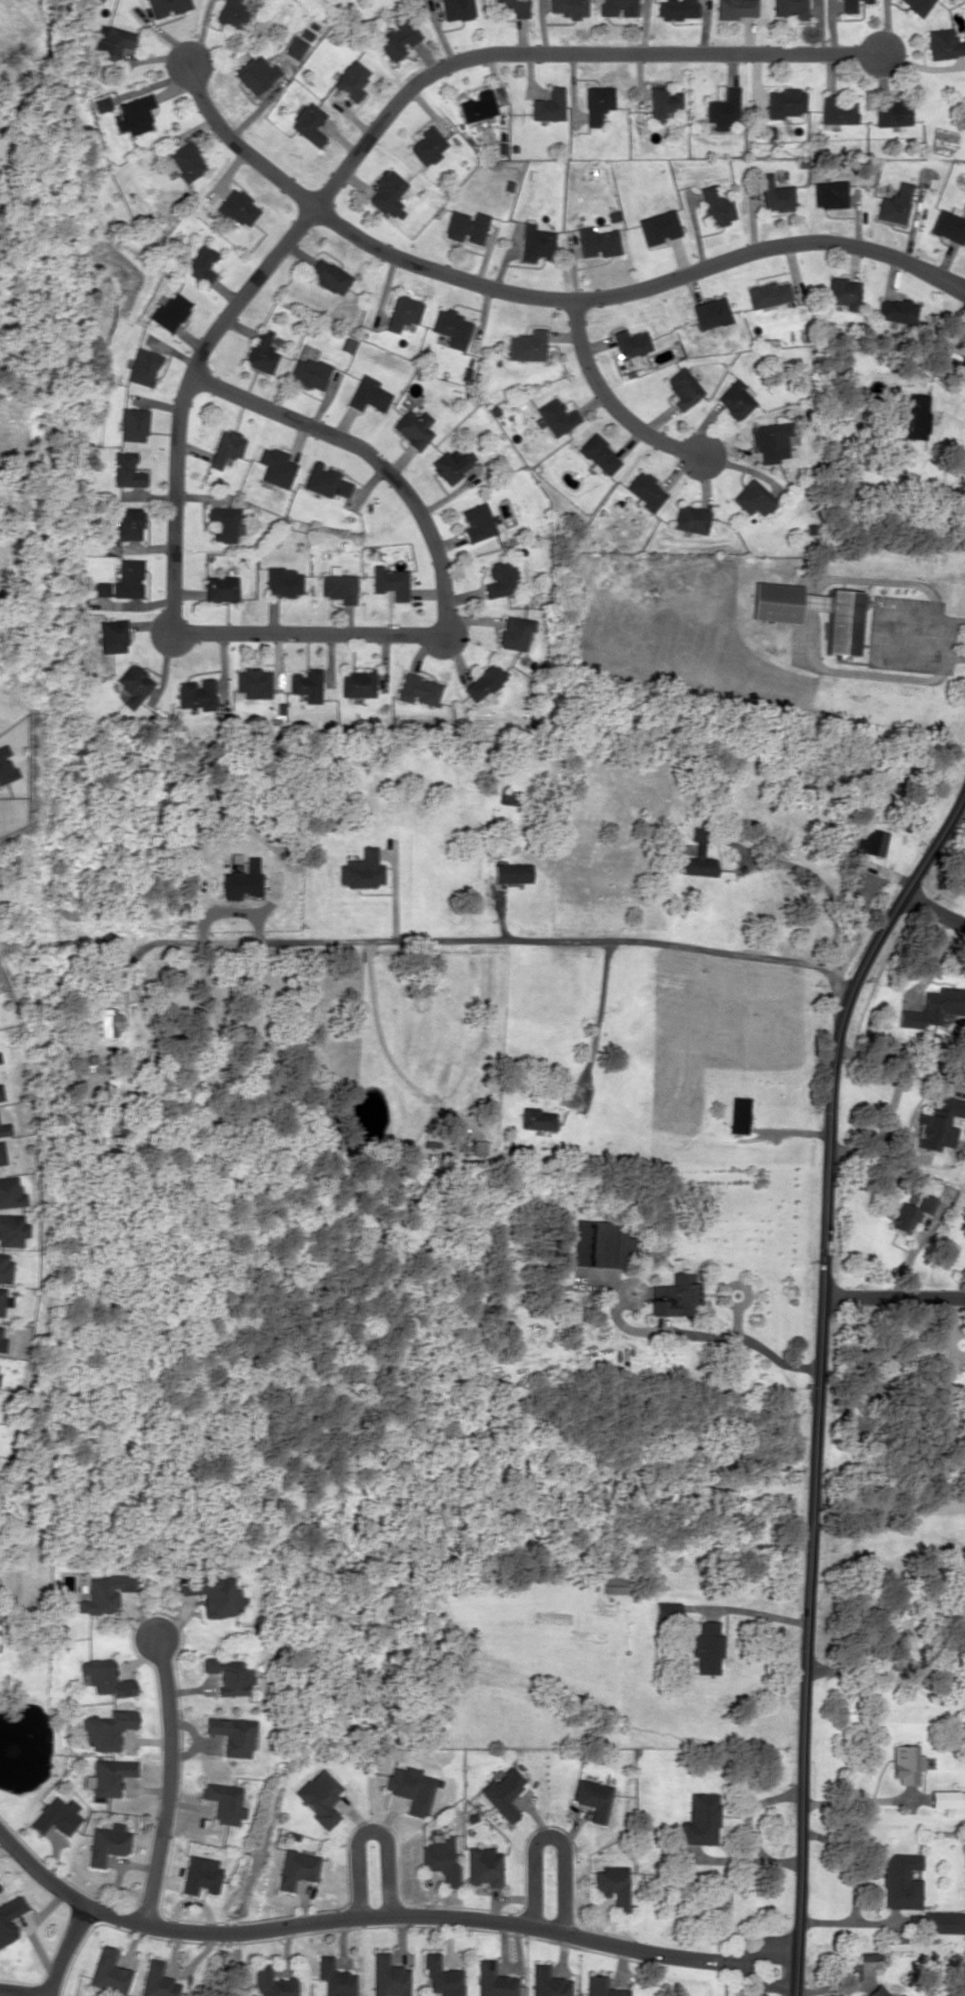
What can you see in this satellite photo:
building: (846, 5)
building: (916, 5)
building: (166, 6)
building: (511, 7)
building: (568, 7)
building: (616, 7)
building: (674, 8)
building: (733, 8)
building: (787, 8)
building: (454, 9)
building: (231, 14)
building: (305, 33)
building: (395, 37)
building: (114, 42)
building: (943, 43)
building: (295, 46)
building: (254, 73)
building: (352, 80)
building: (595, 102)
building: (662, 102)
building: (785, 102)
building: (101, 104)
building: (546, 104)
building: (476, 105)
building: (723, 109)
building: (837, 110)
building: (892, 112)
building: (133, 114)
building: (307, 123)
building: (426, 145)
building: (185, 161)
building: (386, 192)
building: (775, 194)
building: (829, 194)
building: (894, 203)
building: (715, 206)
building: (236, 207)
building: (464, 226)
building: (658, 226)
building: (947, 226)
building: (597, 240)
building: (534, 242)
building: (200, 263)
building: (327, 275)
building: (842, 291)
road: (539, 294)
building: (767, 294)
building: (894, 309)
building: (169, 310)
building: (402, 312)
building: (711, 312)
building: (451, 327)
building: (629, 344)
building: (527, 345)
building: (261, 351)
building: (140, 366)
building: (307, 372)
building: (681, 387)
building: (367, 394)
building: (734, 399)
road: (609, 401)
building: (557, 416)
building: (912, 416)
road: (179, 420)
building: (131, 424)
building: (412, 427)
building: (769, 440)
building: (225, 447)
building: (599, 454)
building: (453, 464)
building: (276, 466)
building: (124, 470)
building: (324, 480)
building: (645, 490)
building: (753, 498)
building: (691, 518)
building: (224, 522)
building: (477, 522)
building: (125, 524)
building: (126, 578)
building: (498, 578)
building: (283, 581)
building: (389, 581)
building: (337, 587)
building: (99, 588)
building: (219, 588)
building: (842, 619)
building: (513, 632)
building: (110, 635)
building: (252, 682)
building: (359, 682)
building: (482, 682)
building: (131, 683)
building: (307, 684)
building: (419, 688)
building: (194, 693)
building: (5, 765)
building: (870, 841)
building: (697, 857)
building: (360, 869)
building: (511, 872)
building: (241, 880)
road: (932, 911)
road: (505, 941)
building: (936, 1007)
building: (106, 1020)
building: (0, 1061)
building: (0, 1094)
building: (738, 1114)
building: (536, 1119)
building: (936, 1122)
building: (4, 1128)
building: (1, 1154)
building: (10, 1192)
building: (924, 1203)
building: (902, 1217)
building: (11, 1229)
building: (599, 1243)
building: (4, 1268)
building: (675, 1296)
road: (893, 1296)
building: (3, 1299)
road: (818, 1375)
building: (612, 1584)
building: (103, 1593)
building: (212, 1595)
building: (665, 1610)
building: (706, 1647)
building: (226, 1674)
building: (103, 1677)
building: (105, 1729)
building: (230, 1735)
building: (906, 1763)
building: (106, 1776)
road: (169, 1782)
building: (409, 1787)
building: (502, 1792)
building: (317, 1796)
building: (592, 1798)
building: (947, 1798)
building: (221, 1802)
building: (55, 1816)
building: (699, 1819)
road: (369, 1827)
road: (552, 1837)
building: (105, 1842)
building: (439, 1857)
building: (483, 1866)
building: (294, 1868)
building: (198, 1874)
building: (900, 1880)
building: (612, 1885)
road: (381, 1918)
building: (935, 1921)
building: (5, 1927)
road: (61, 1948)
building: (870, 1955)
building: (106, 1971)
building: (387, 1976)
building: (441, 1977)
building: (333, 1978)
building: (155, 1981)
building: (494, 1981)
building: (271, 1982)
building: (548, 1982)
building: (602, 1987)
road: (24, 1991)
building: (875, 1991)
building: (899, 1995)

